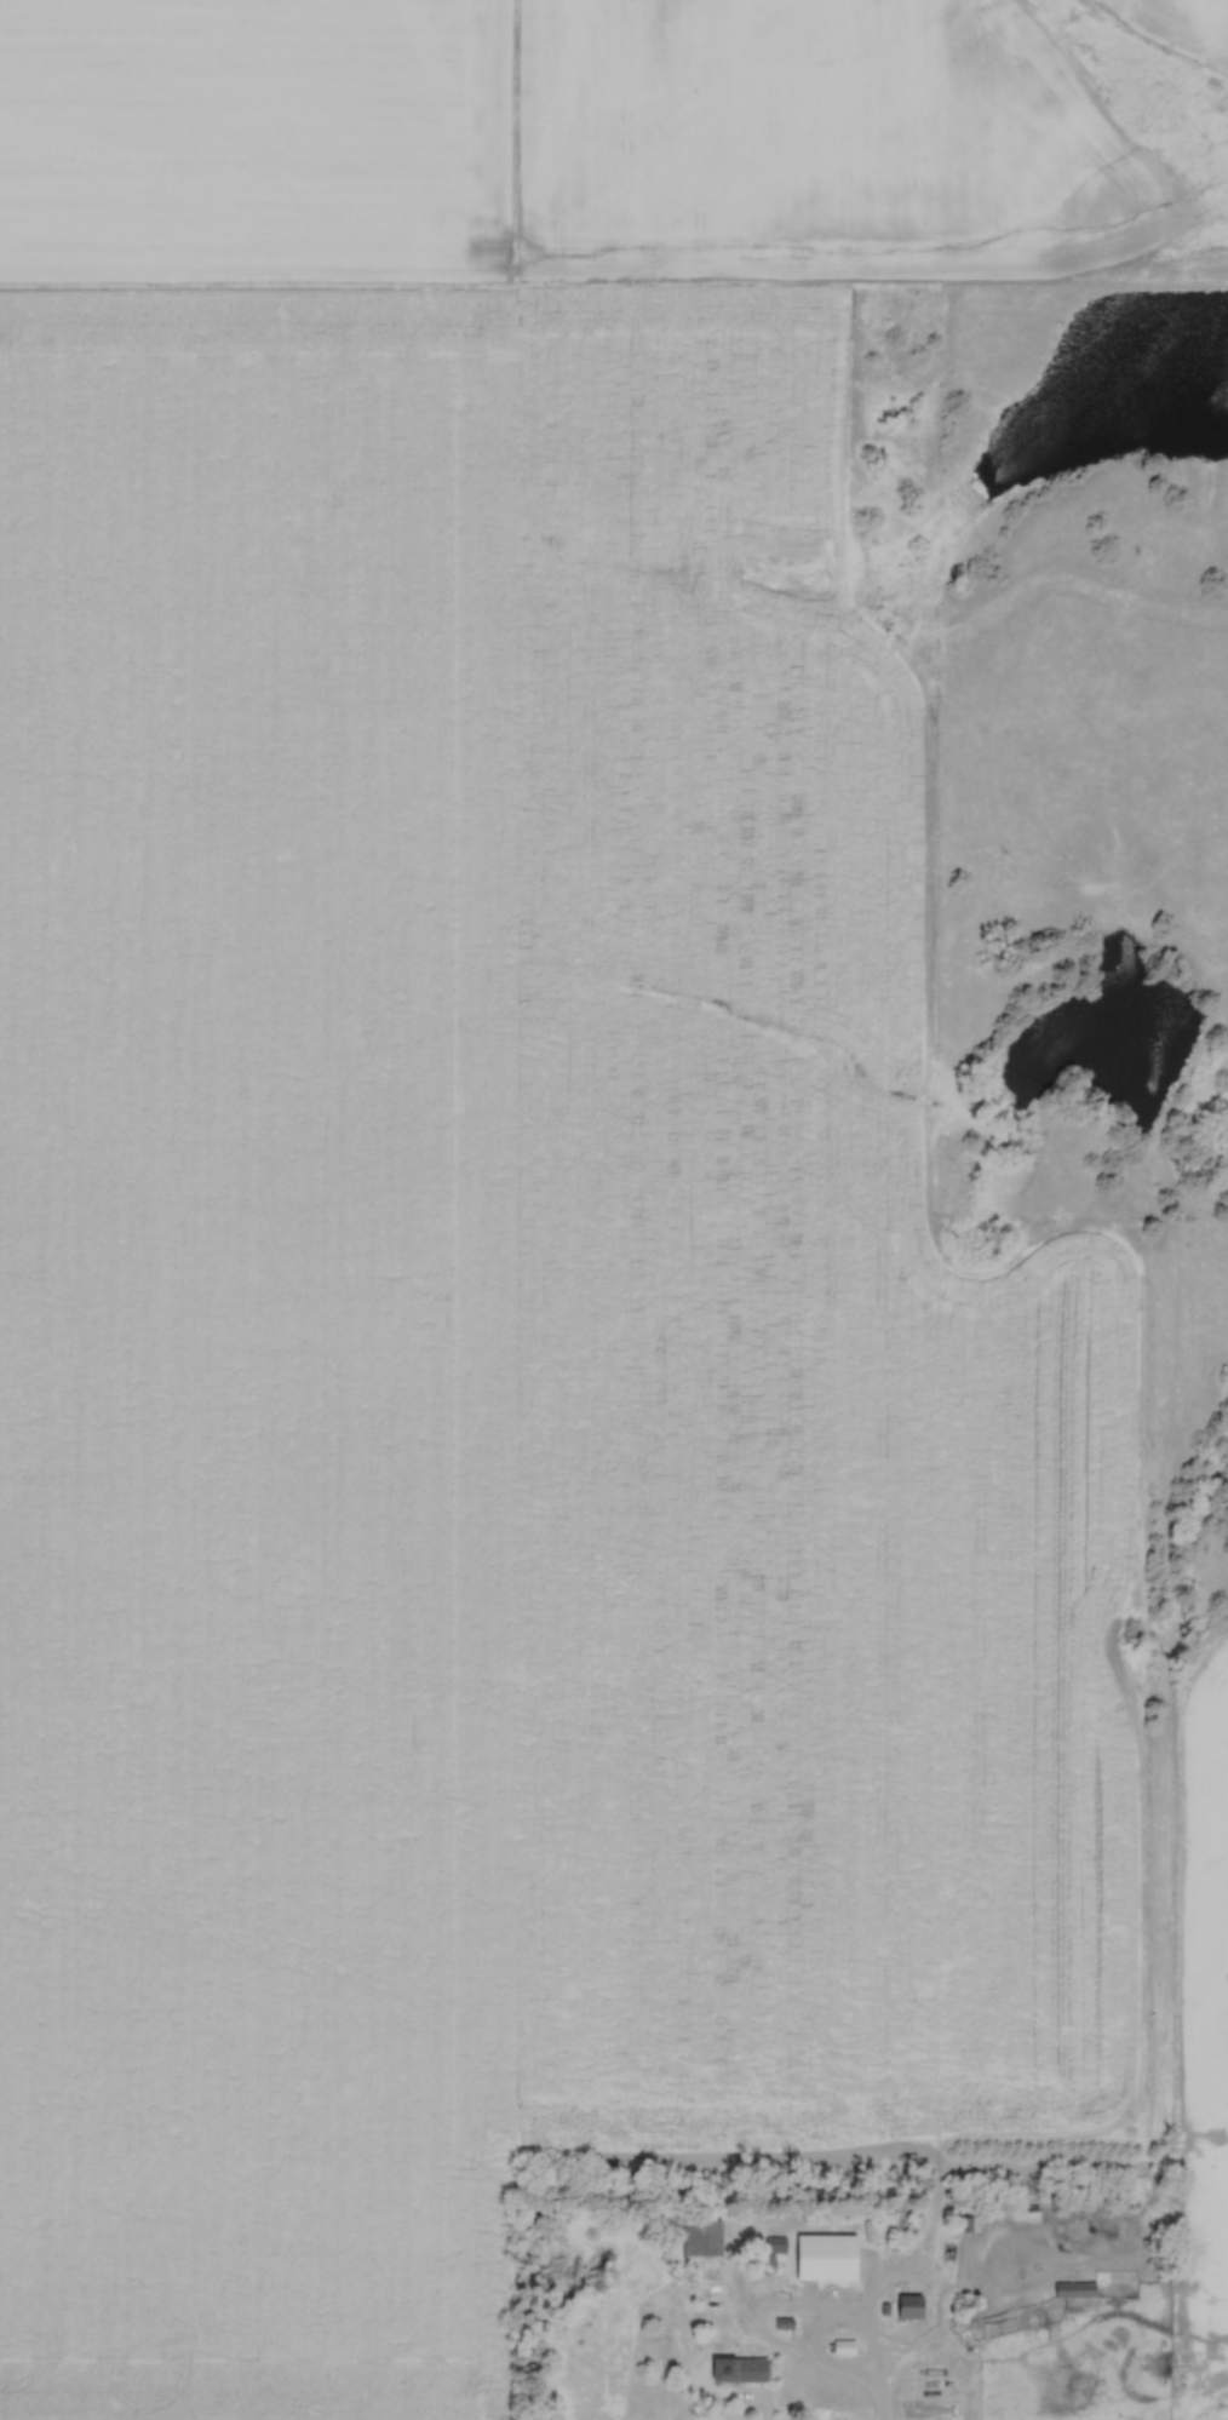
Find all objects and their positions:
building: (1022, 2212)
building: (698, 2236)
building: (773, 2242)
building: (1072, 2288)
building: (905, 2305)
road: (813, 2311)
building: (733, 2367)
road: (880, 2398)

